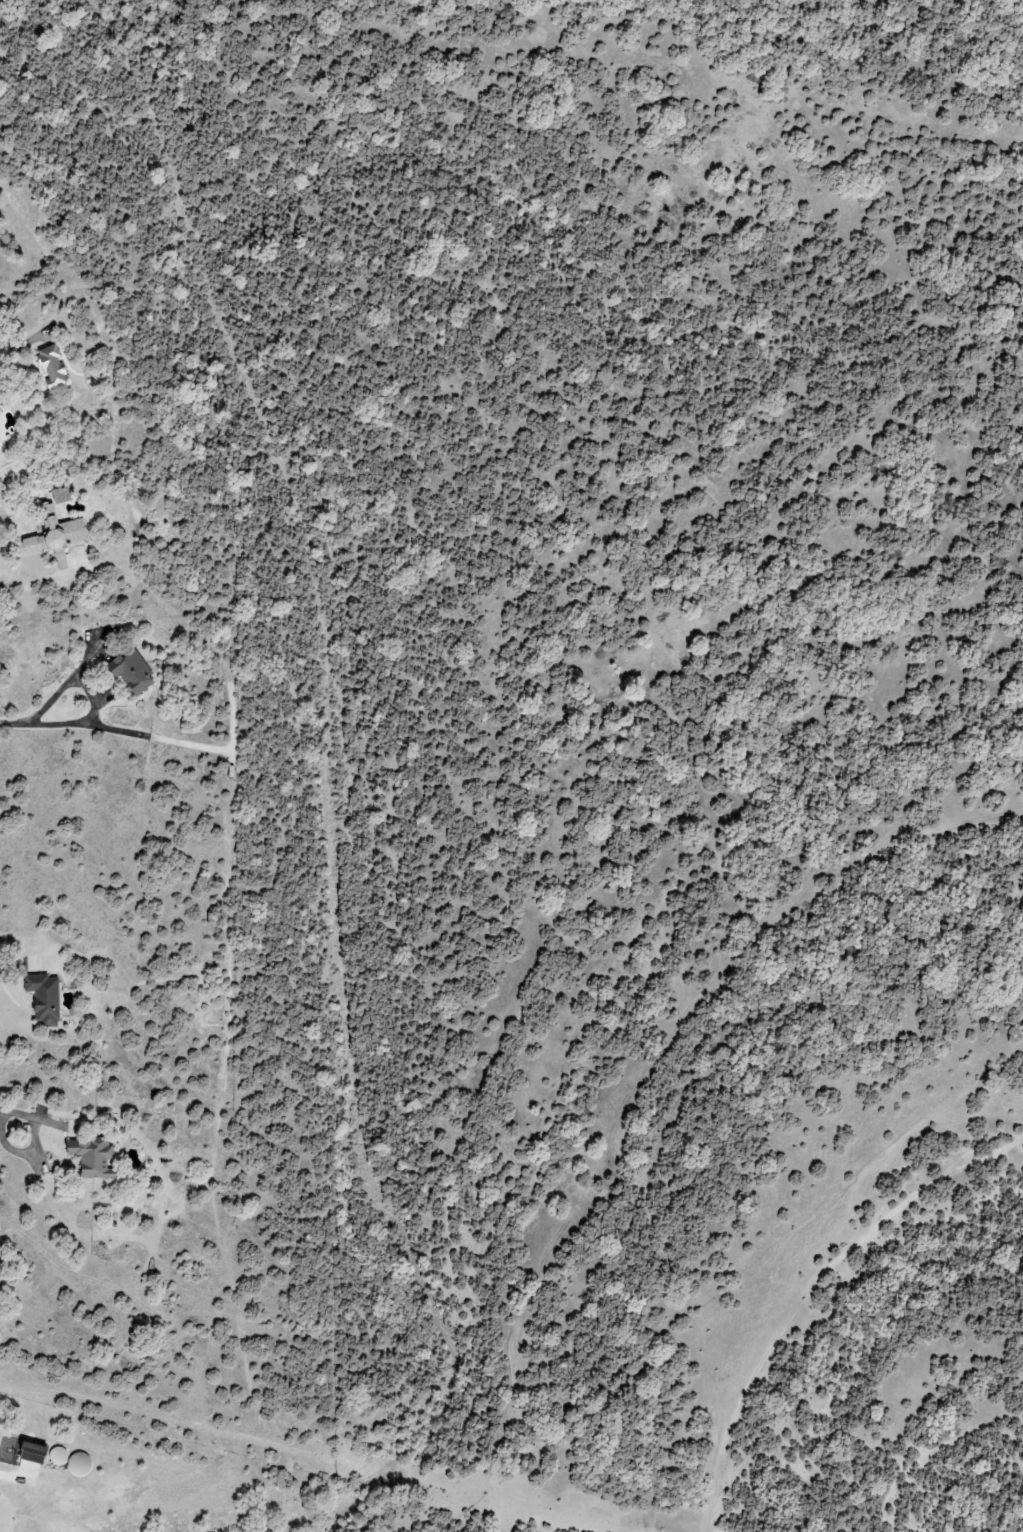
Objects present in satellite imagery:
building: (52, 367)
building: (61, 495)
building: (55, 536)
road: (18, 581)
building: (131, 670)
road: (94, 694)
road: (15, 723)
road: (13, 961)
building: (45, 998)
road: (36, 1139)
building: (91, 1157)
building: (31, 1452)
building: (71, 1461)
road: (2, 1478)

